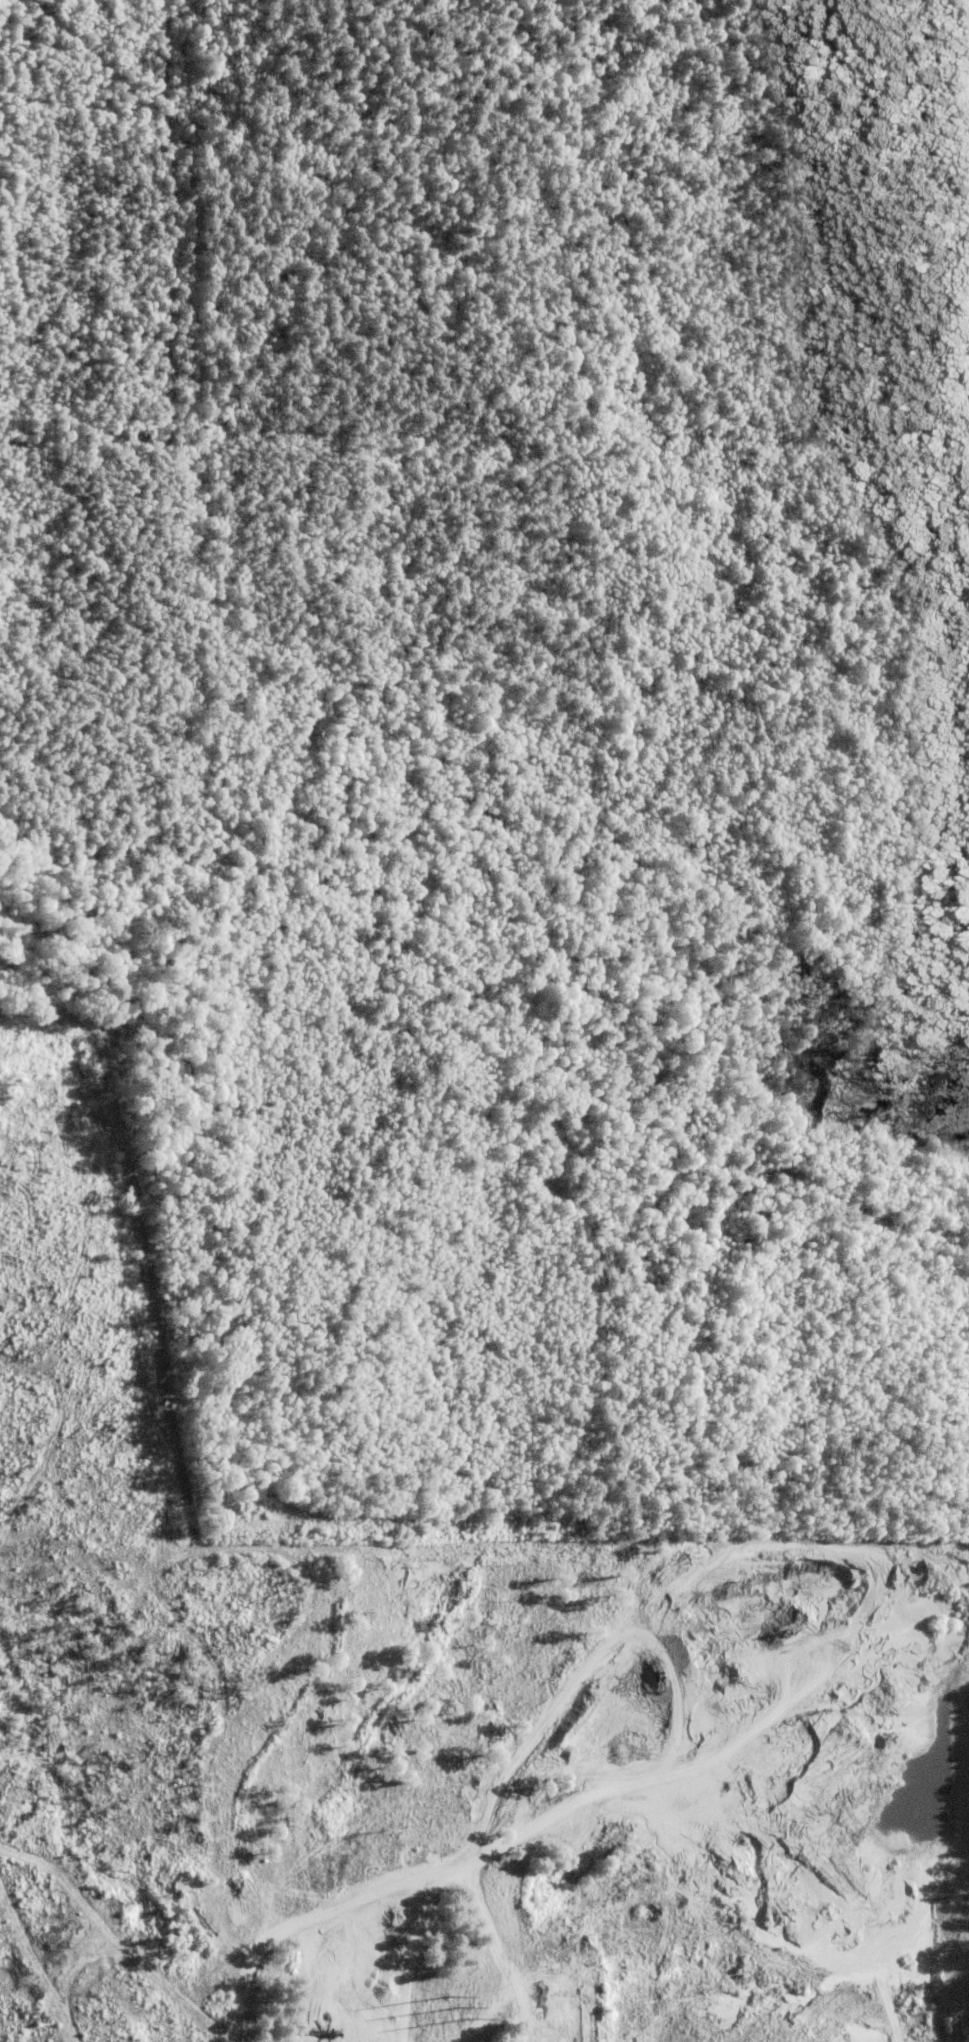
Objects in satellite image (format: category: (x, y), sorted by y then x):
power tower: (817, 1761)
power tower: (442, 2009)

